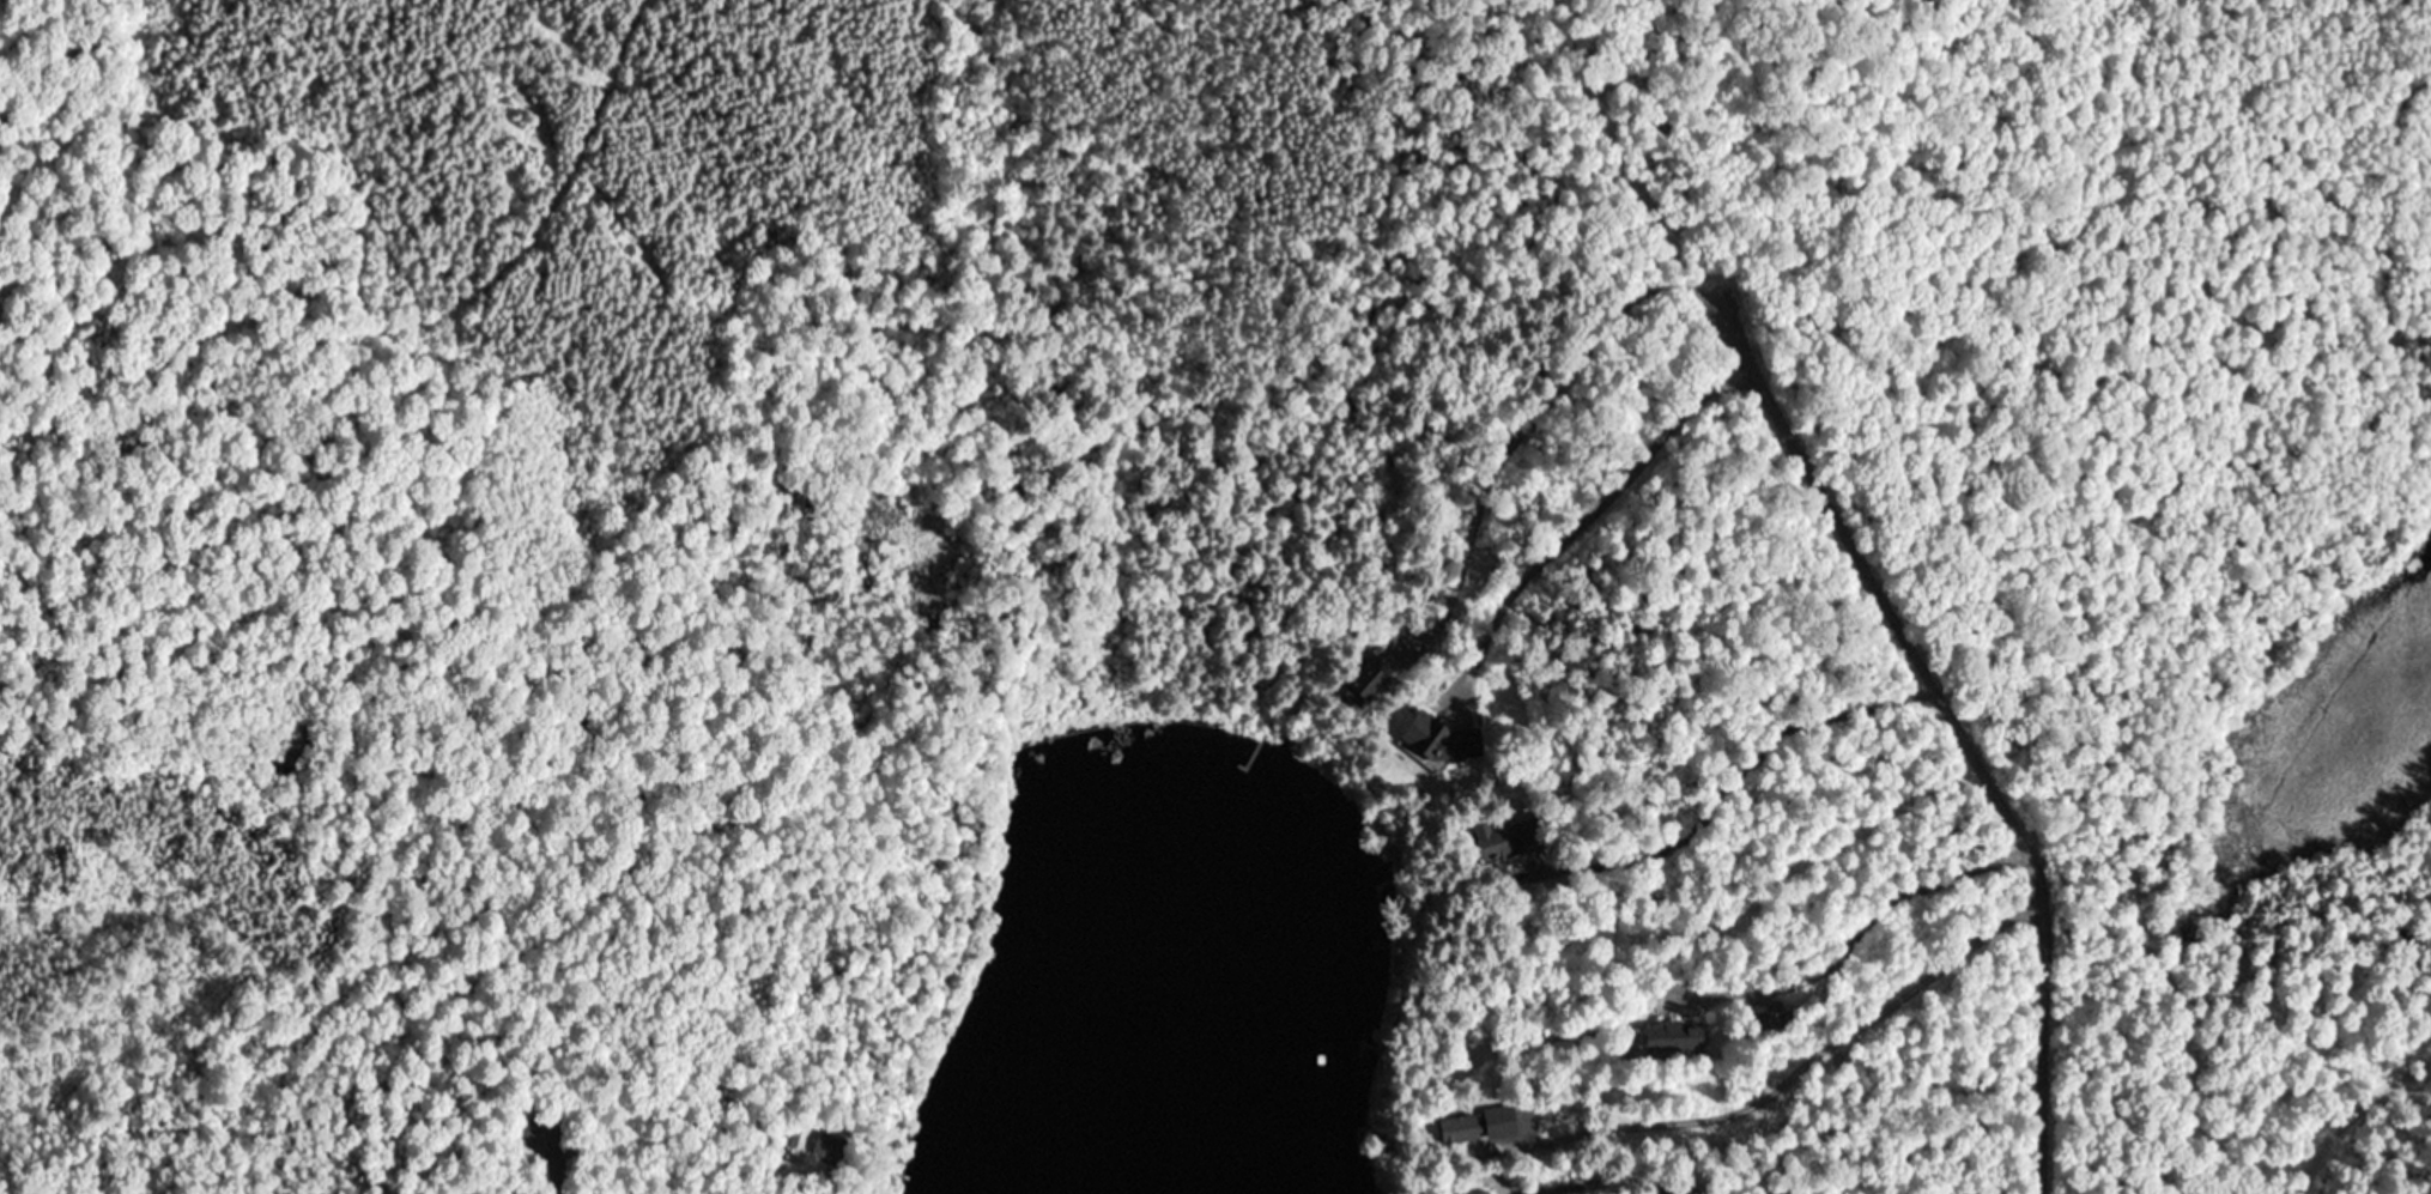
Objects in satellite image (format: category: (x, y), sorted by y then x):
road: (1941, 714)
building: (1432, 744)
building: (1499, 841)
building: (1766, 1017)
building: (1663, 1036)
road: (529, 1115)
building: (1457, 1128)
building: (827, 1146)
building: (1484, 1192)

